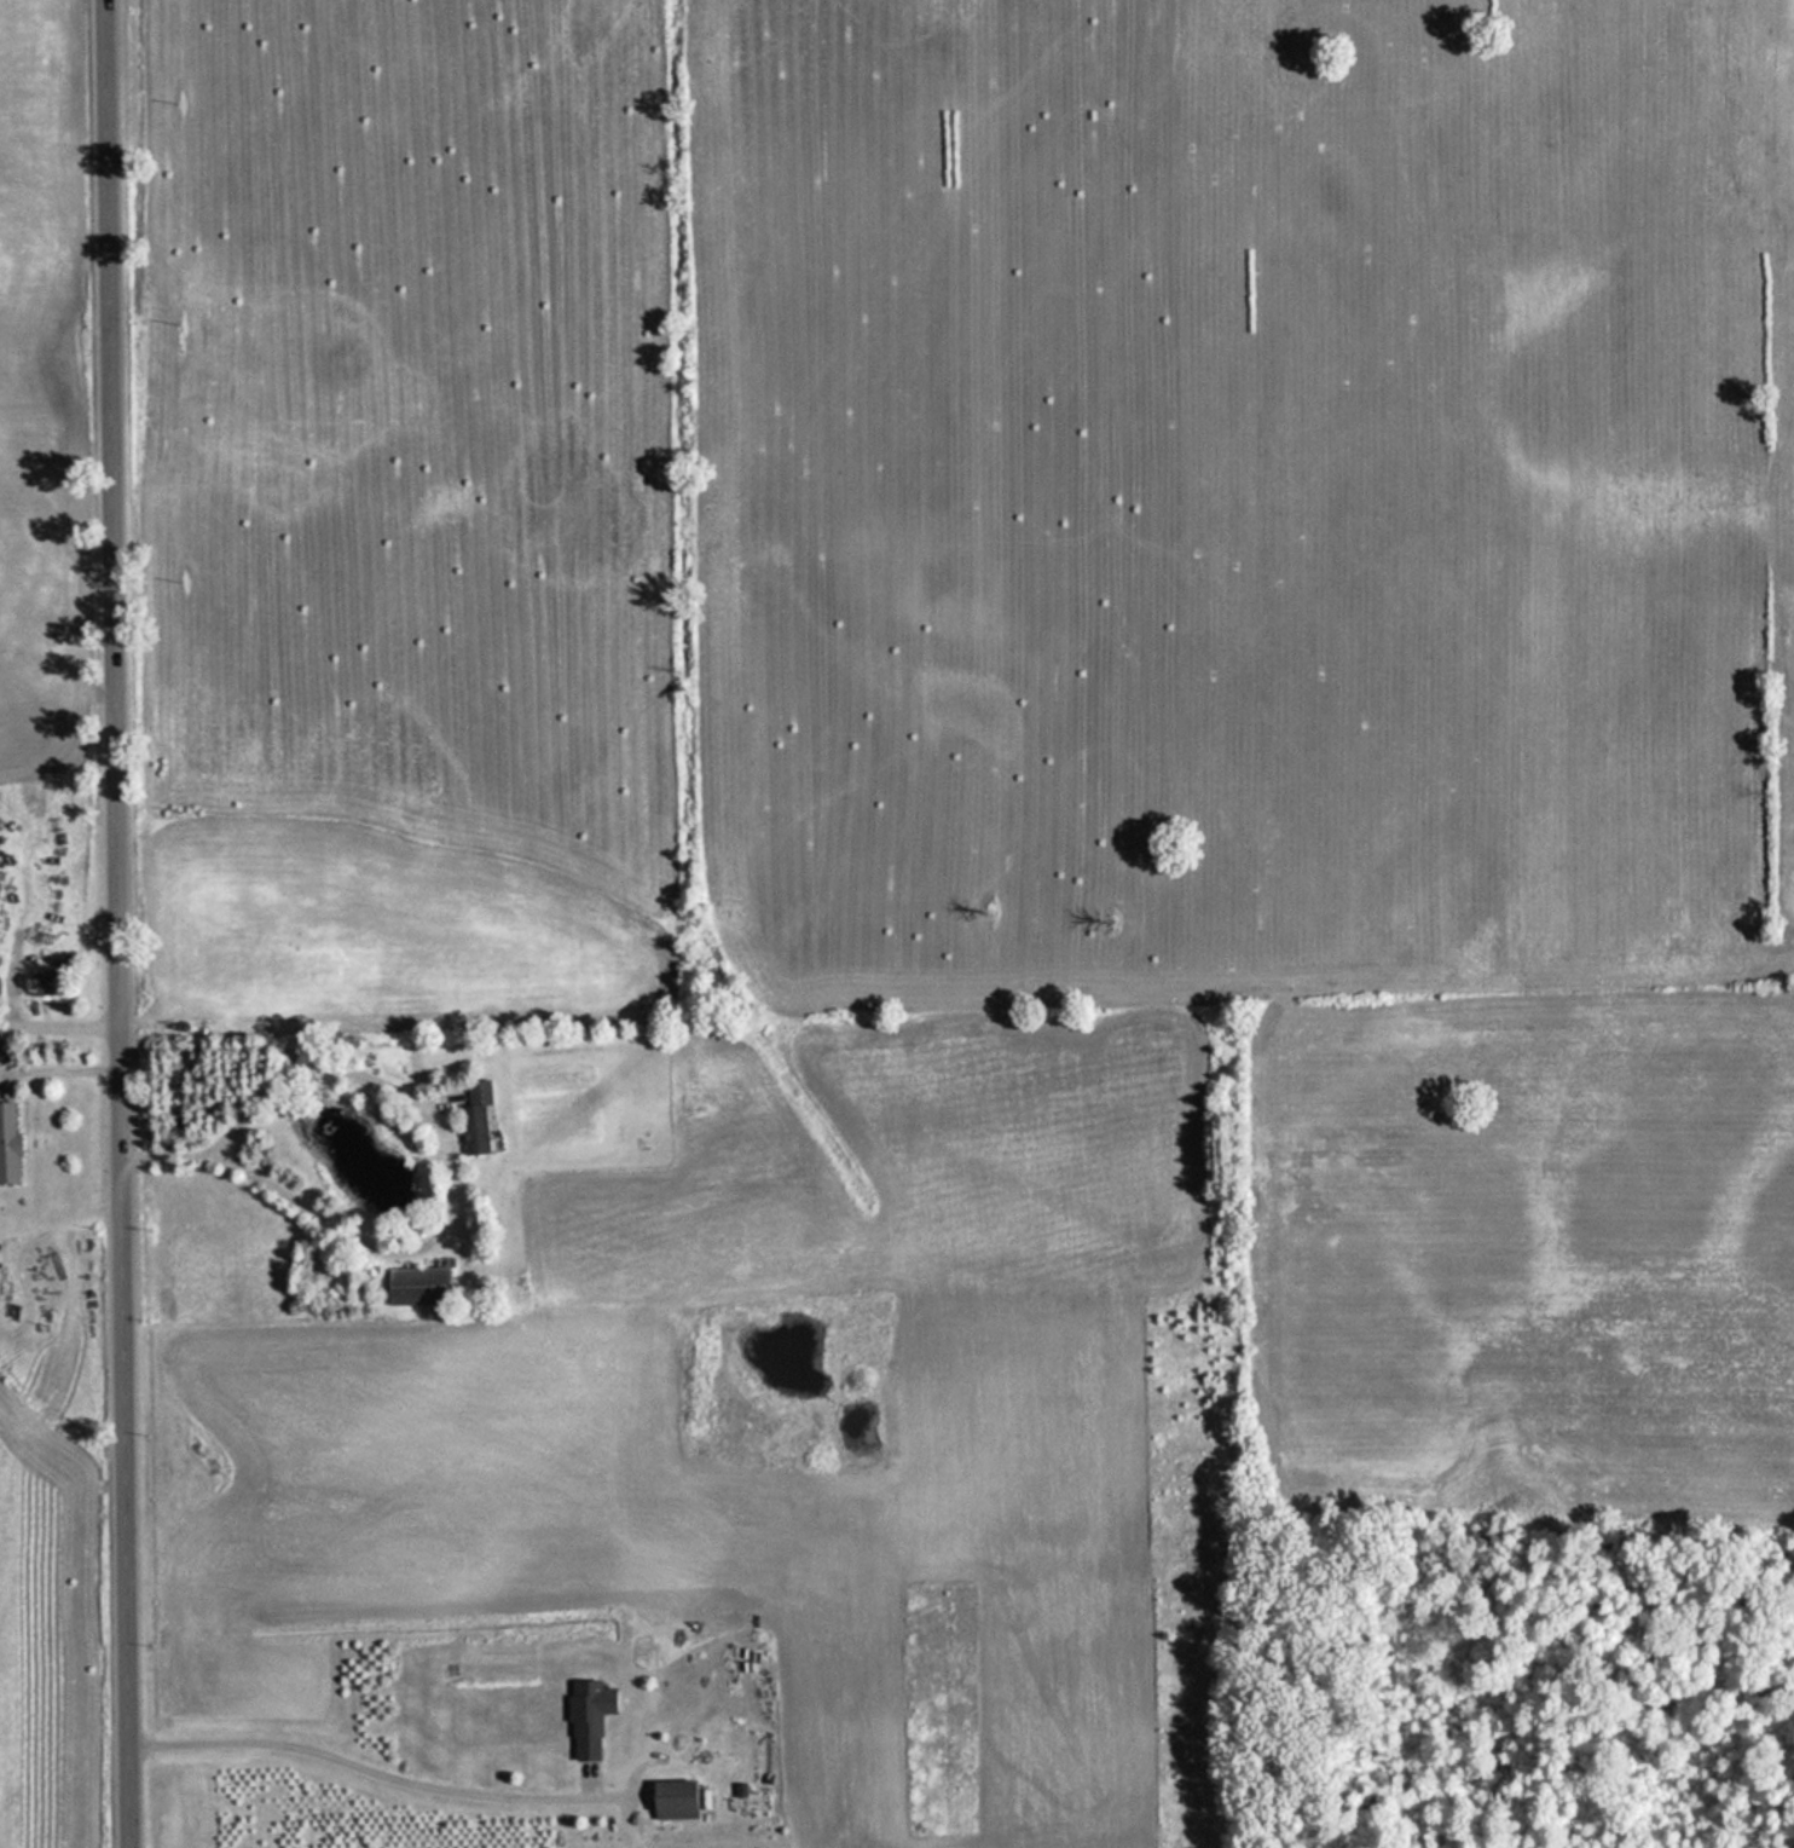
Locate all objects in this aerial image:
road: (118, 923)
building: (2, 1050)
building: (474, 1119)
building: (7, 1142)
building: (413, 1286)
building: (556, 1777)
building: (671, 1801)

